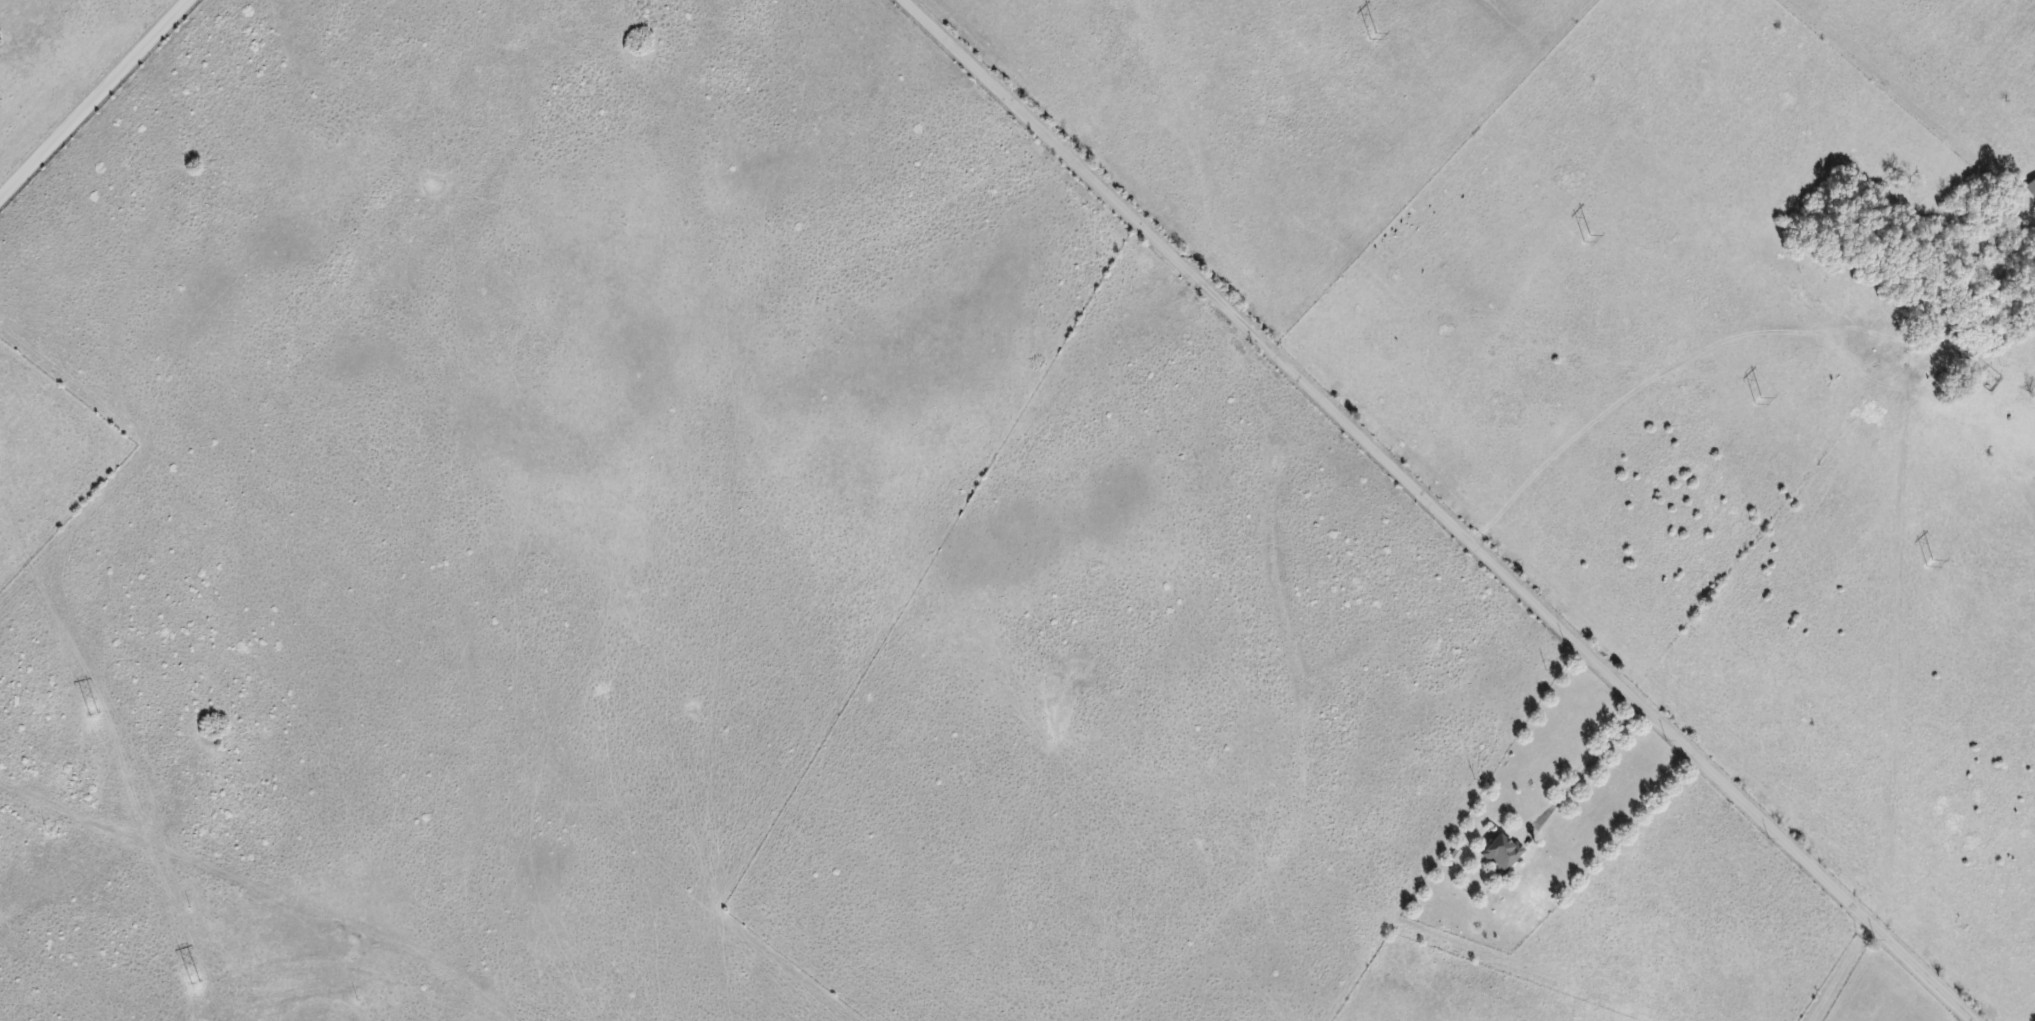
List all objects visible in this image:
power tower: (1369, 36)
road: (95, 99)
building: (2032, 187)
power tower: (1581, 240)
power tower: (1753, 397)
road: (1443, 506)
power tower: (1925, 562)
power tower: (84, 712)
road: (1591, 771)
building: (1501, 857)
road: (1839, 972)
power tower: (184, 977)

